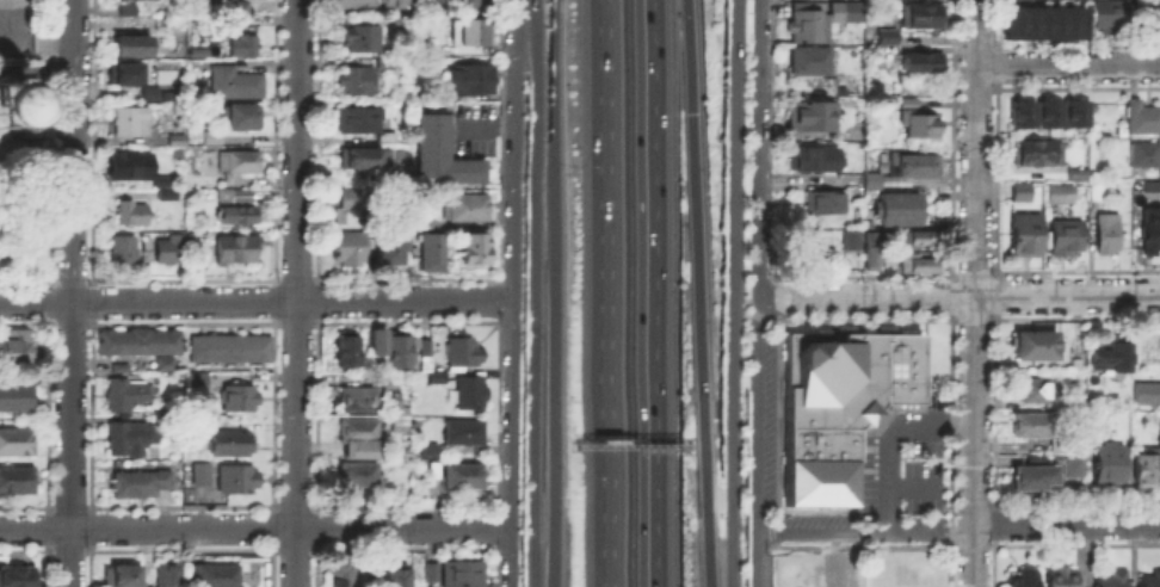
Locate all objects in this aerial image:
building: (371, 4)
building: (193, 5)
building: (464, 5)
building: (230, 6)
road: (603, 10)
building: (129, 11)
building: (856, 13)
building: (1109, 17)
building: (924, 18)
building: (1042, 21)
building: (405, 23)
building: (1149, 23)
building: (812, 27)
building: (473, 33)
building: (889, 38)
road: (33, 41)
building: (362, 41)
building: (134, 45)
building: (245, 47)
building: (812, 62)
building: (926, 64)
road: (1067, 67)
road: (36, 70)
building: (125, 76)
building: (474, 80)
building: (360, 81)
building: (27, 82)
building: (237, 85)
building: (152, 95)
building: (10, 103)
traffic signals: (693, 112)
building: (1019, 112)
building: (1047, 112)
building: (1073, 112)
building: (814, 117)
building: (245, 118)
building: (1144, 121)
building: (917, 122)
building: (134, 123)
building: (362, 123)
building: (30, 132)
building: (212, 138)
building: (179, 140)
road: (759, 147)
road: (37, 152)
road: (72, 152)
building: (443, 155)
building: (1039, 155)
building: (1147, 156)
building: (365, 159)
building: (817, 160)
building: (241, 162)
building: (130, 167)
park: (24, 168)
building: (914, 169)
building: (1075, 173)
building: (875, 183)
building: (1024, 193)
building: (1149, 194)
building: (167, 196)
building: (1062, 196)
building: (245, 197)
building: (360, 200)
building: (826, 204)
building: (468, 209)
building: (901, 211)
building: (135, 215)
building: (239, 216)
building: (424, 224)
building: (1152, 233)
building: (1026, 236)
building: (1107, 236)
building: (1066, 239)
building: (853, 241)
building: (919, 241)
building: (147, 243)
building: (476, 248)
building: (178, 249)
building: (351, 249)
building: (436, 249)
building: (806, 249)
building: (125, 251)
building: (396, 251)
building: (237, 252)
building: (872, 252)
building: (920, 266)
road: (37, 271)
road: (297, 292)
road: (511, 292)
road: (532, 292)
road: (650, 292)
road: (698, 292)
road: (974, 292)
road: (555, 293)
road: (736, 293)
road: (960, 296)
road: (291, 301)
road: (36, 303)
road: (607, 303)
building: (375, 340)
building: (422, 345)
building: (143, 346)
building: (1038, 346)
building: (395, 347)
building: (343, 348)
building: (233, 350)
building: (17, 353)
building: (464, 353)
building: (1113, 354)
building: (439, 378)
building: (196, 384)
building: (1035, 390)
building: (1146, 391)
building: (129, 395)
building: (471, 395)
building: (17, 398)
building: (241, 400)
building: (360, 401)
building: (840, 408)
road: (755, 414)
building: (402, 418)
road: (903, 425)
building: (362, 432)
building: (464, 433)
building: (1045, 433)
building: (131, 439)
building: (18, 443)
road: (69, 444)
building: (234, 445)
building: (430, 451)
building: (1110, 466)
building: (1074, 470)
building: (1148, 471)
building: (203, 476)
building: (457, 476)
building: (1031, 476)
building: (359, 477)
building: (239, 481)
building: (18, 482)
building: (141, 484)
road: (909, 486)
road: (886, 509)
road: (1067, 523)
road: (255, 526)
road: (865, 535)
road: (753, 561)
building: (428, 570)
building: (459, 573)
building: (165, 574)
building: (211, 574)
building: (343, 576)
building: (396, 576)
building: (1023, 576)
building: (17, 577)
building: (123, 577)
building: (1063, 579)
building: (1112, 579)
building: (1152, 580)

